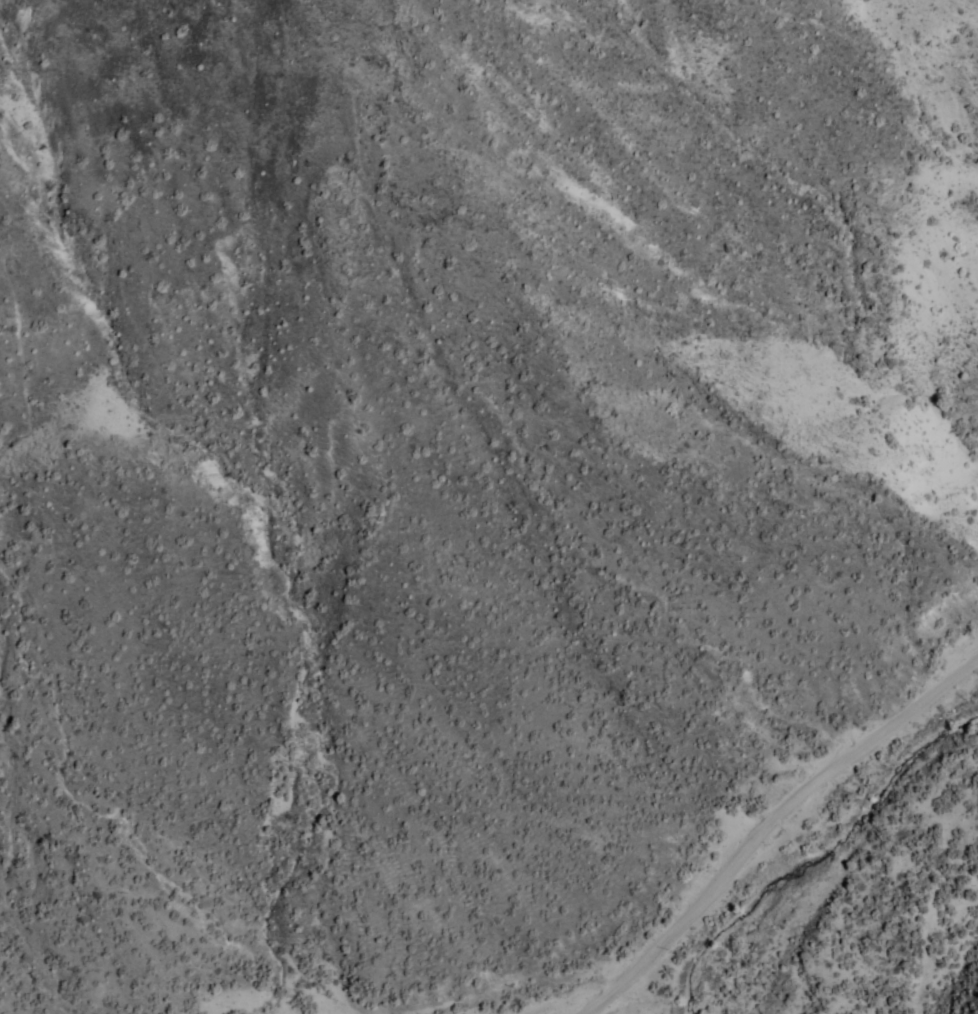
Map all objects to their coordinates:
road: (771, 827)

